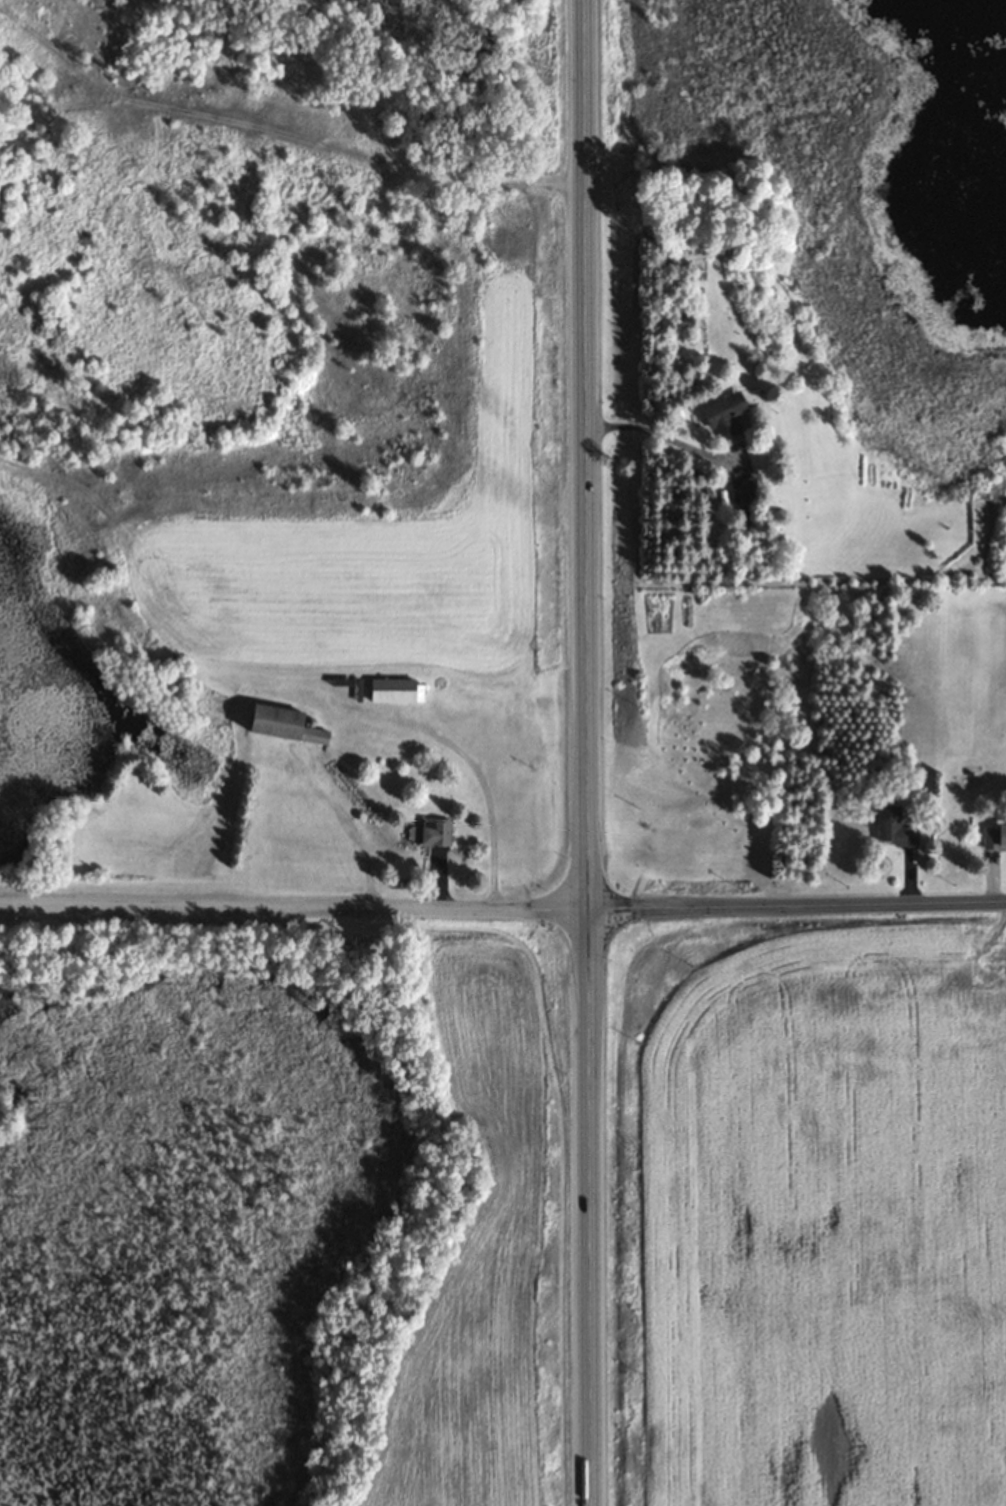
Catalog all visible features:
building: (724, 415)
building: (740, 490)
building: (394, 691)
building: (281, 725)
road: (584, 752)
building: (892, 827)
building: (433, 832)
building: (993, 837)
road: (503, 909)

